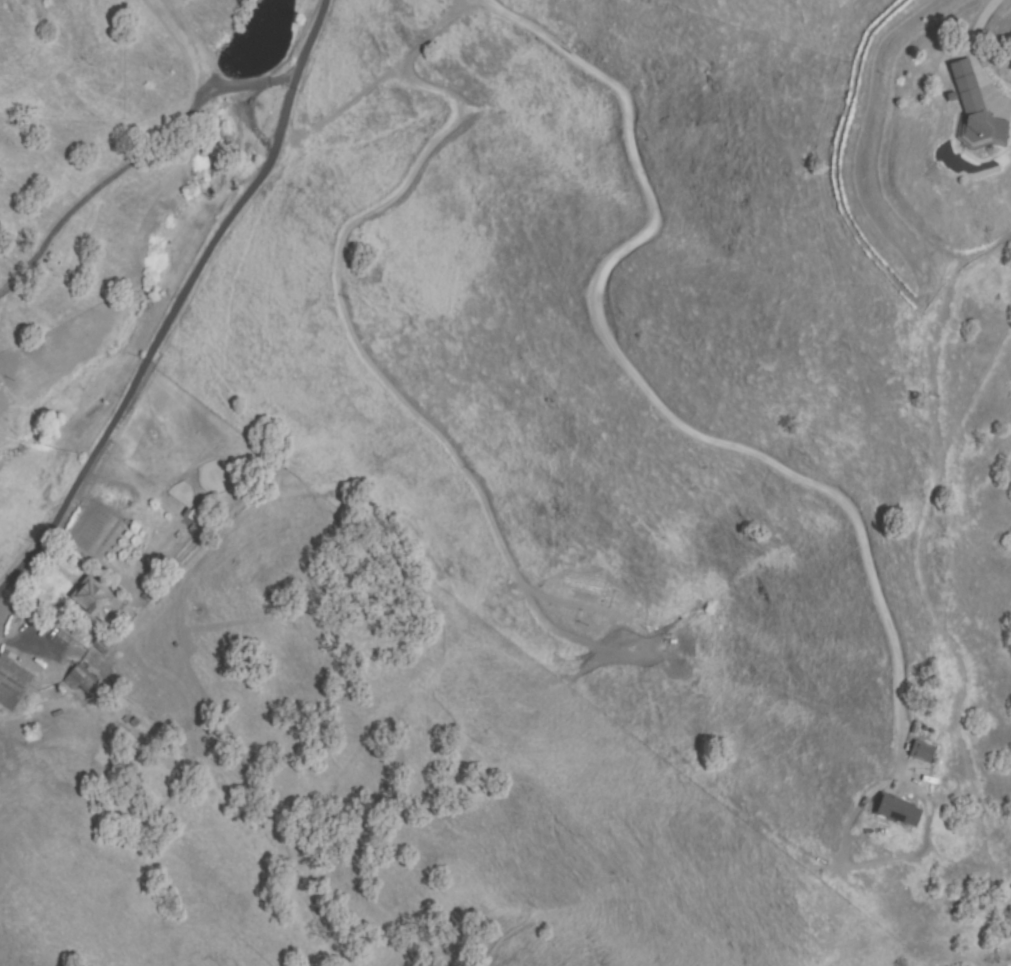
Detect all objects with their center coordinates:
building: (968, 108)
road: (178, 302)
building: (95, 598)
building: (100, 646)
building: (81, 679)
building: (12, 683)

